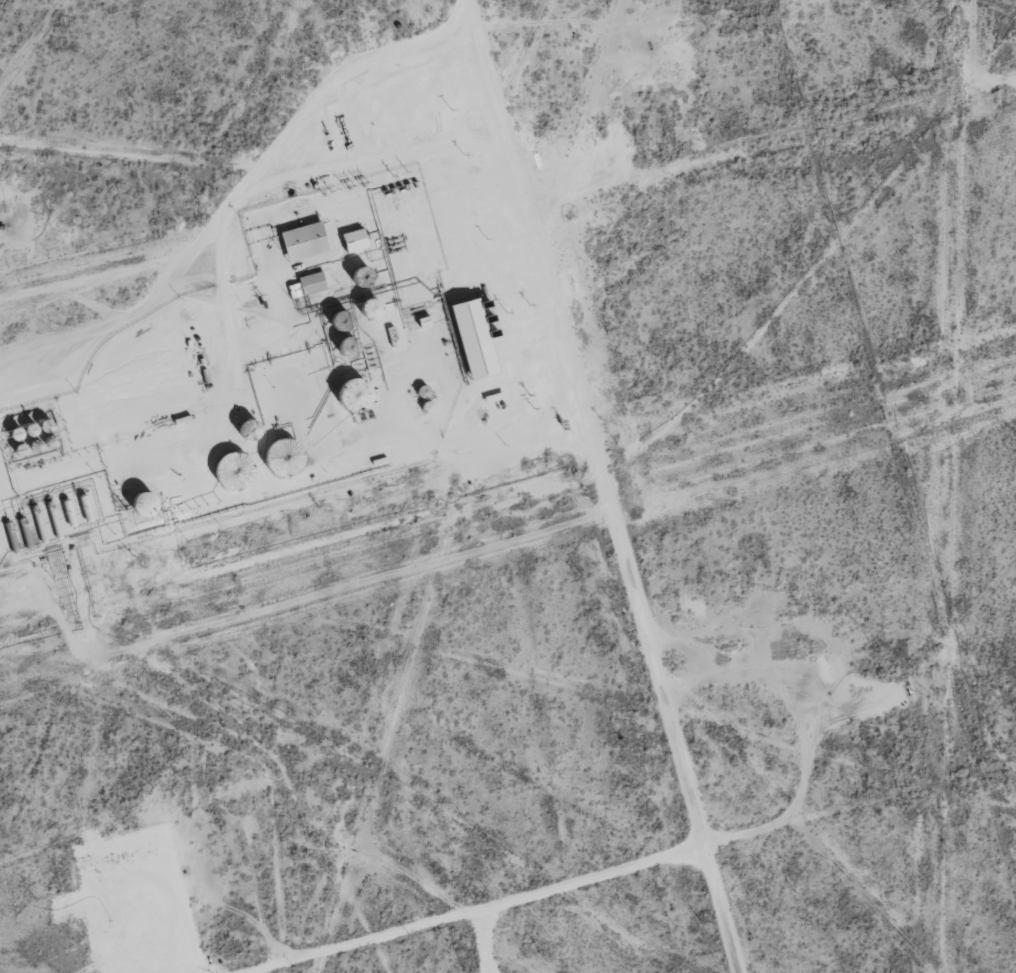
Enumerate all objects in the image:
building: (352, 240)
building: (301, 241)
building: (305, 285)
building: (468, 338)
road: (602, 486)
road: (718, 891)

